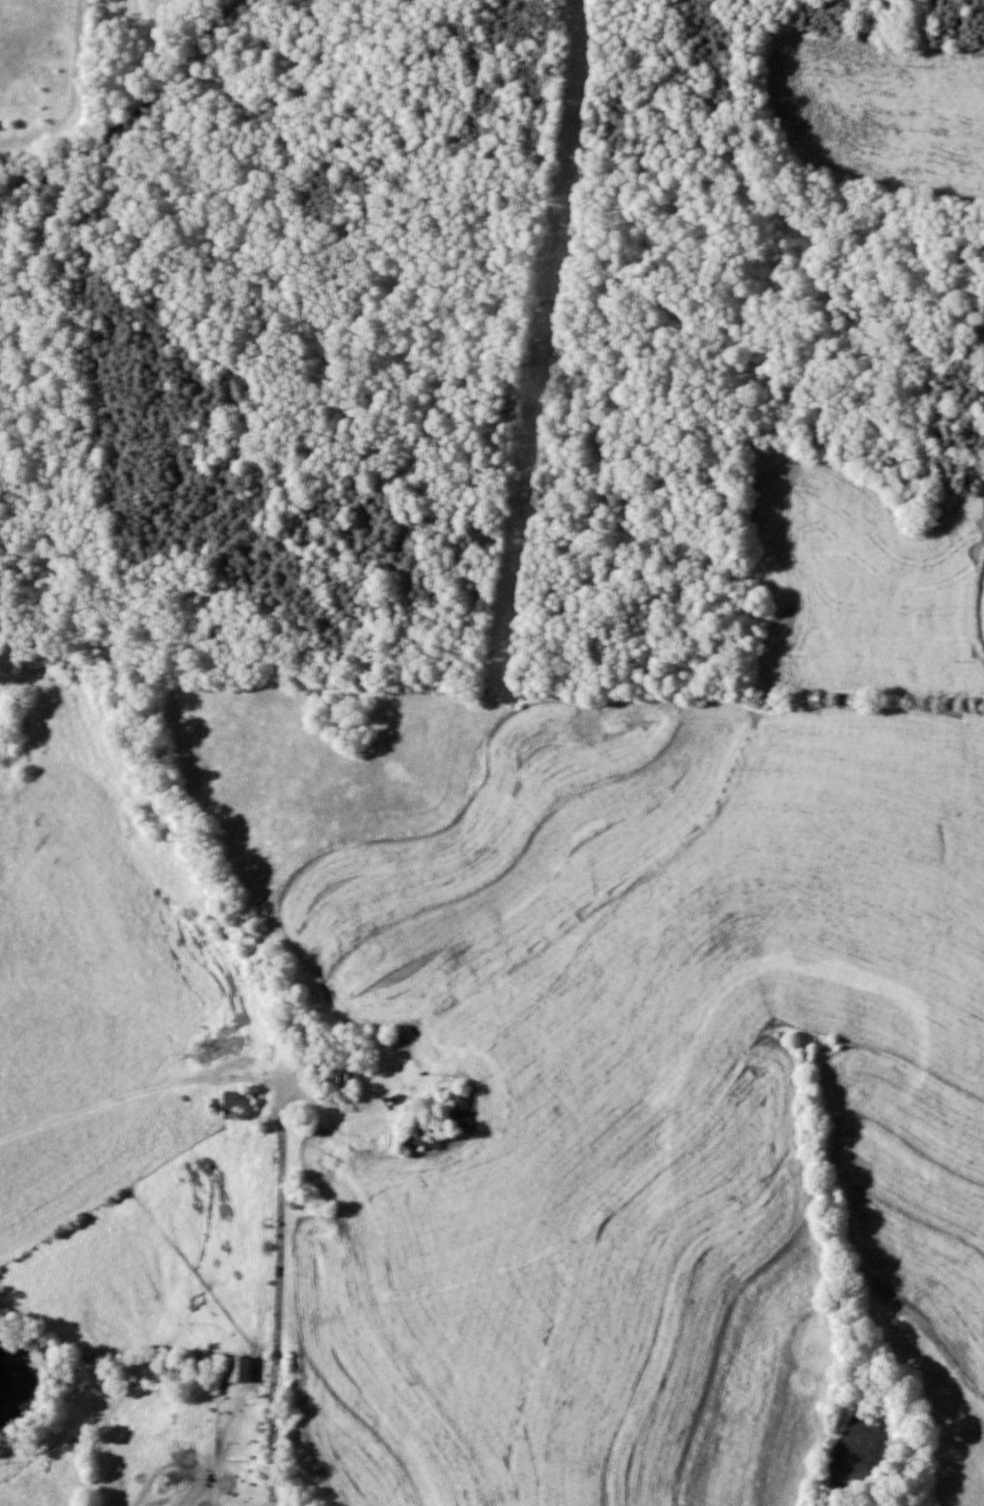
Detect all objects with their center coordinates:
building: (236, 1103)
building: (459, 1109)
road: (299, 1333)
building: (235, 1370)

